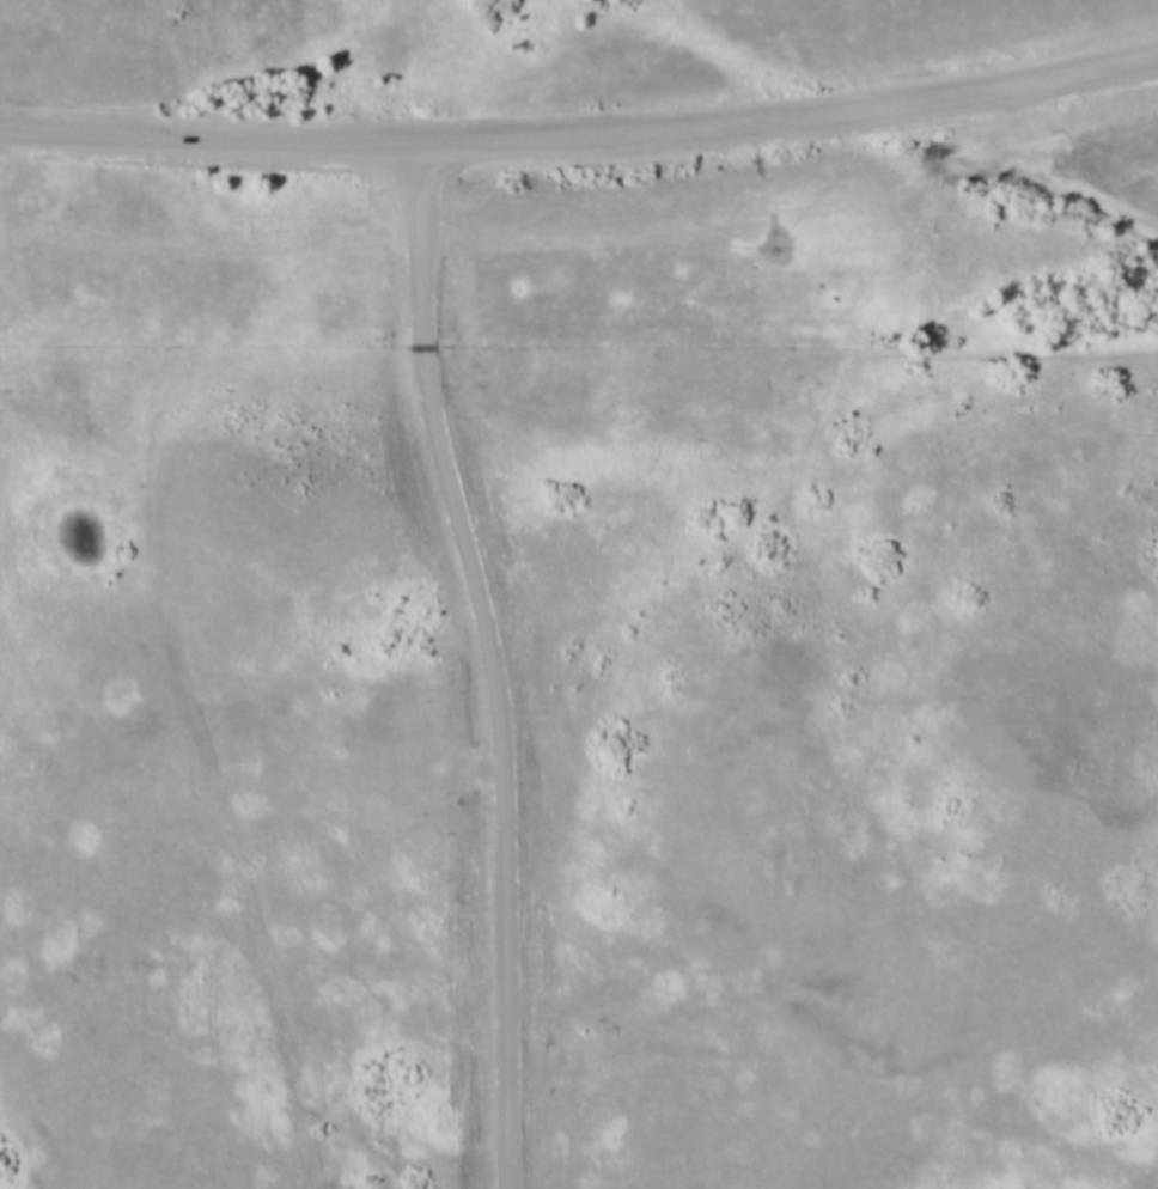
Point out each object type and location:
road: (581, 141)
road: (486, 664)

